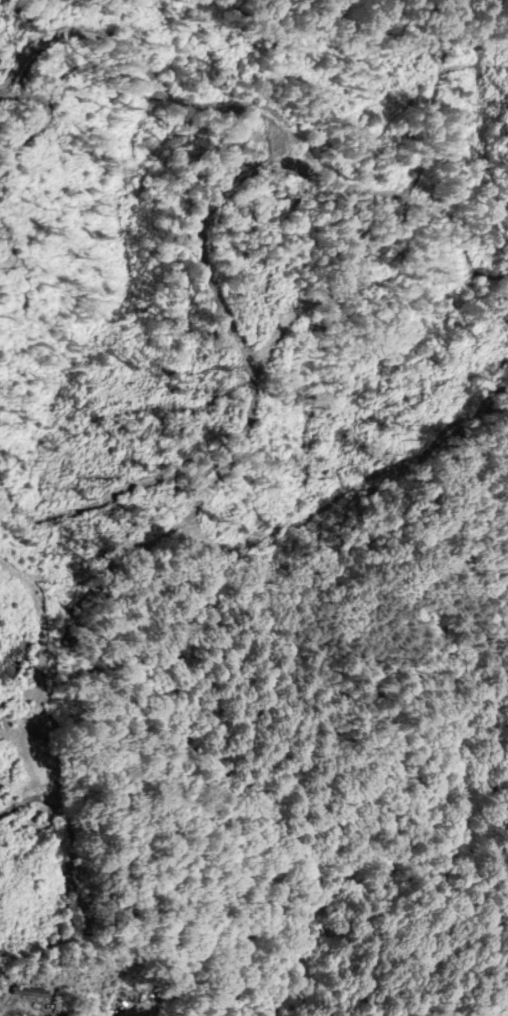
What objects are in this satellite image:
building: (19, 994)

